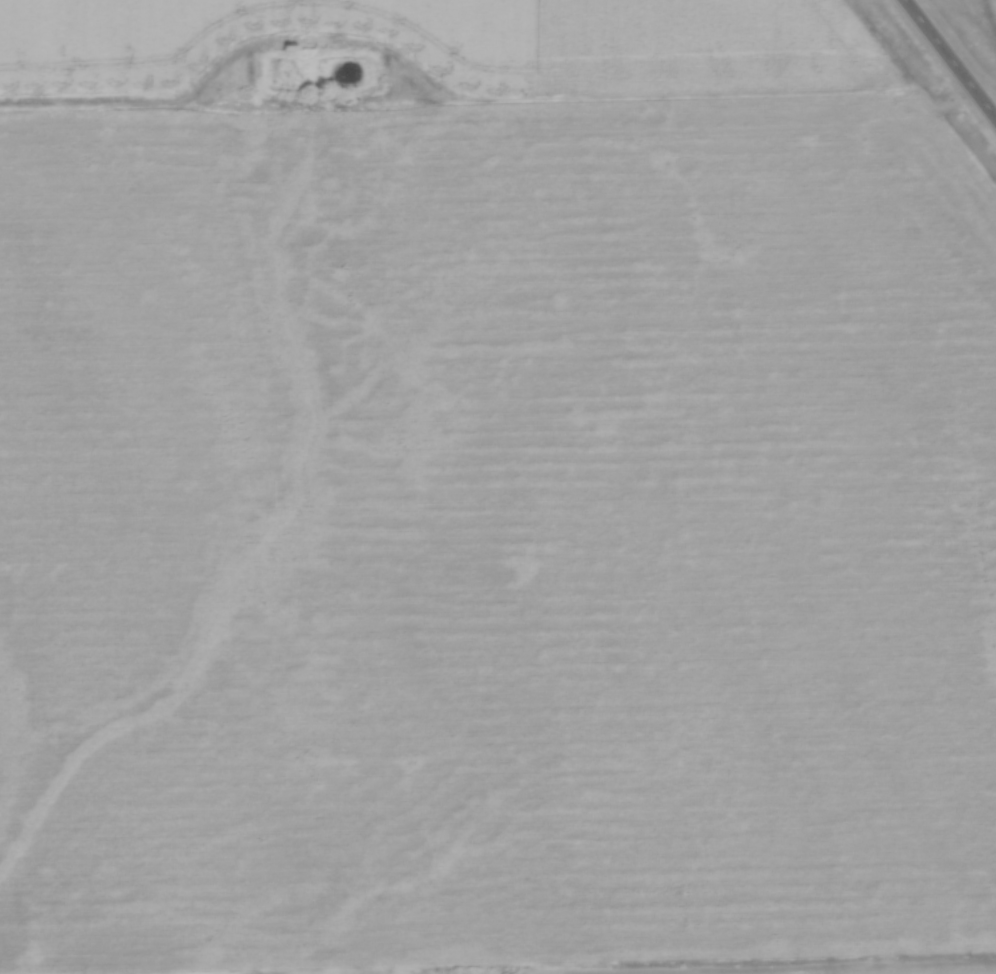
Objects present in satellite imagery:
road: (950, 61)

